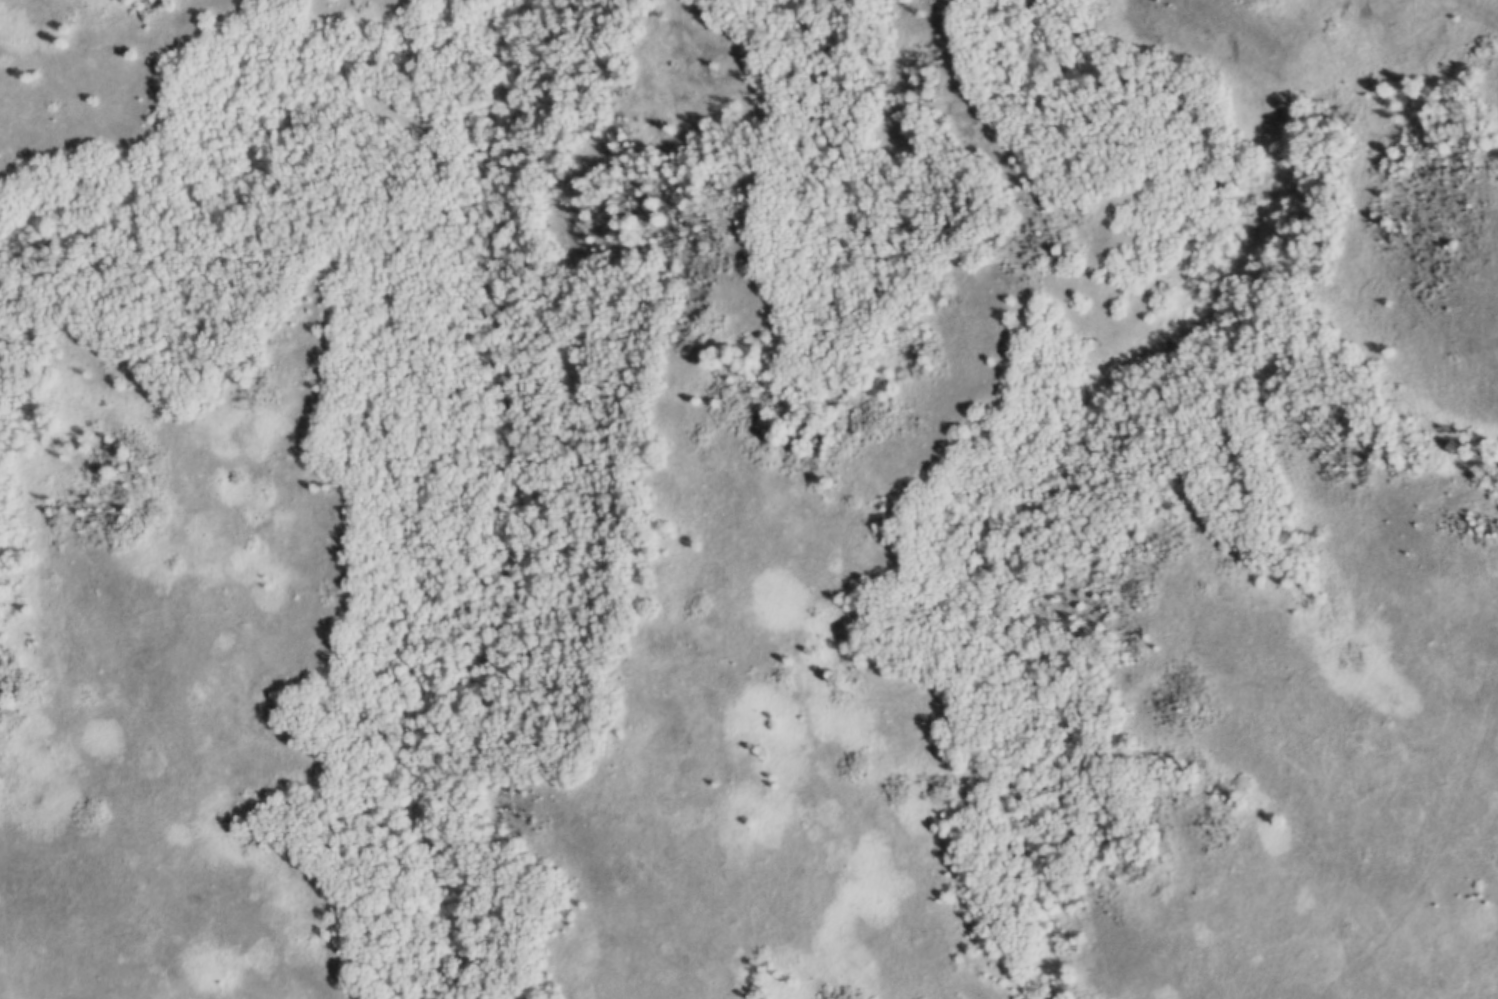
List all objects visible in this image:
road: (1474, 11)

